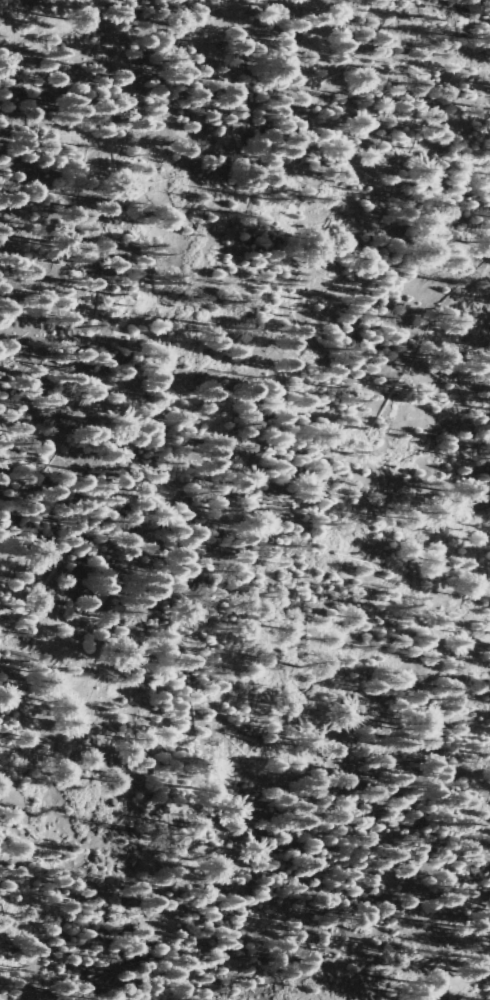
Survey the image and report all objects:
road: (181, 474)

